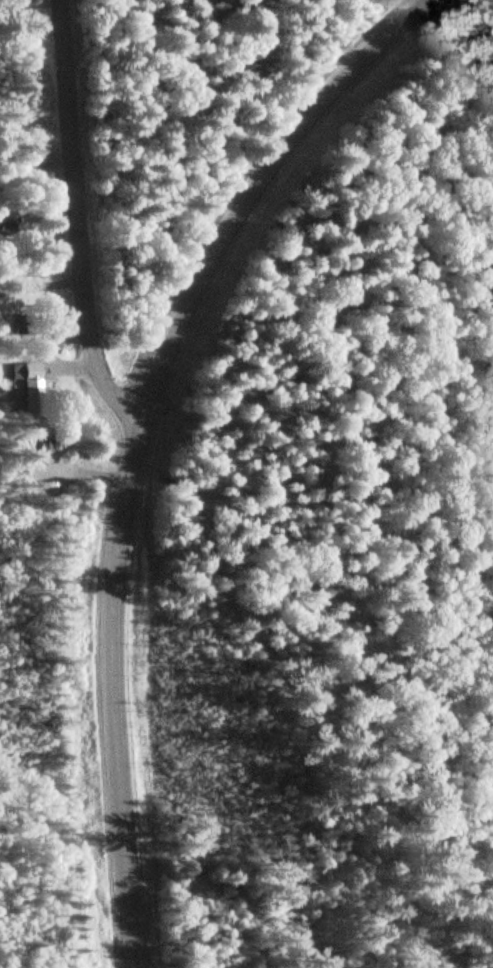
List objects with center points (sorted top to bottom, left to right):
road: (35, 166)
road: (76, 221)
building: (0, 237)
road: (41, 287)
road: (77, 367)
building: (24, 375)
road: (137, 436)
road: (98, 476)

